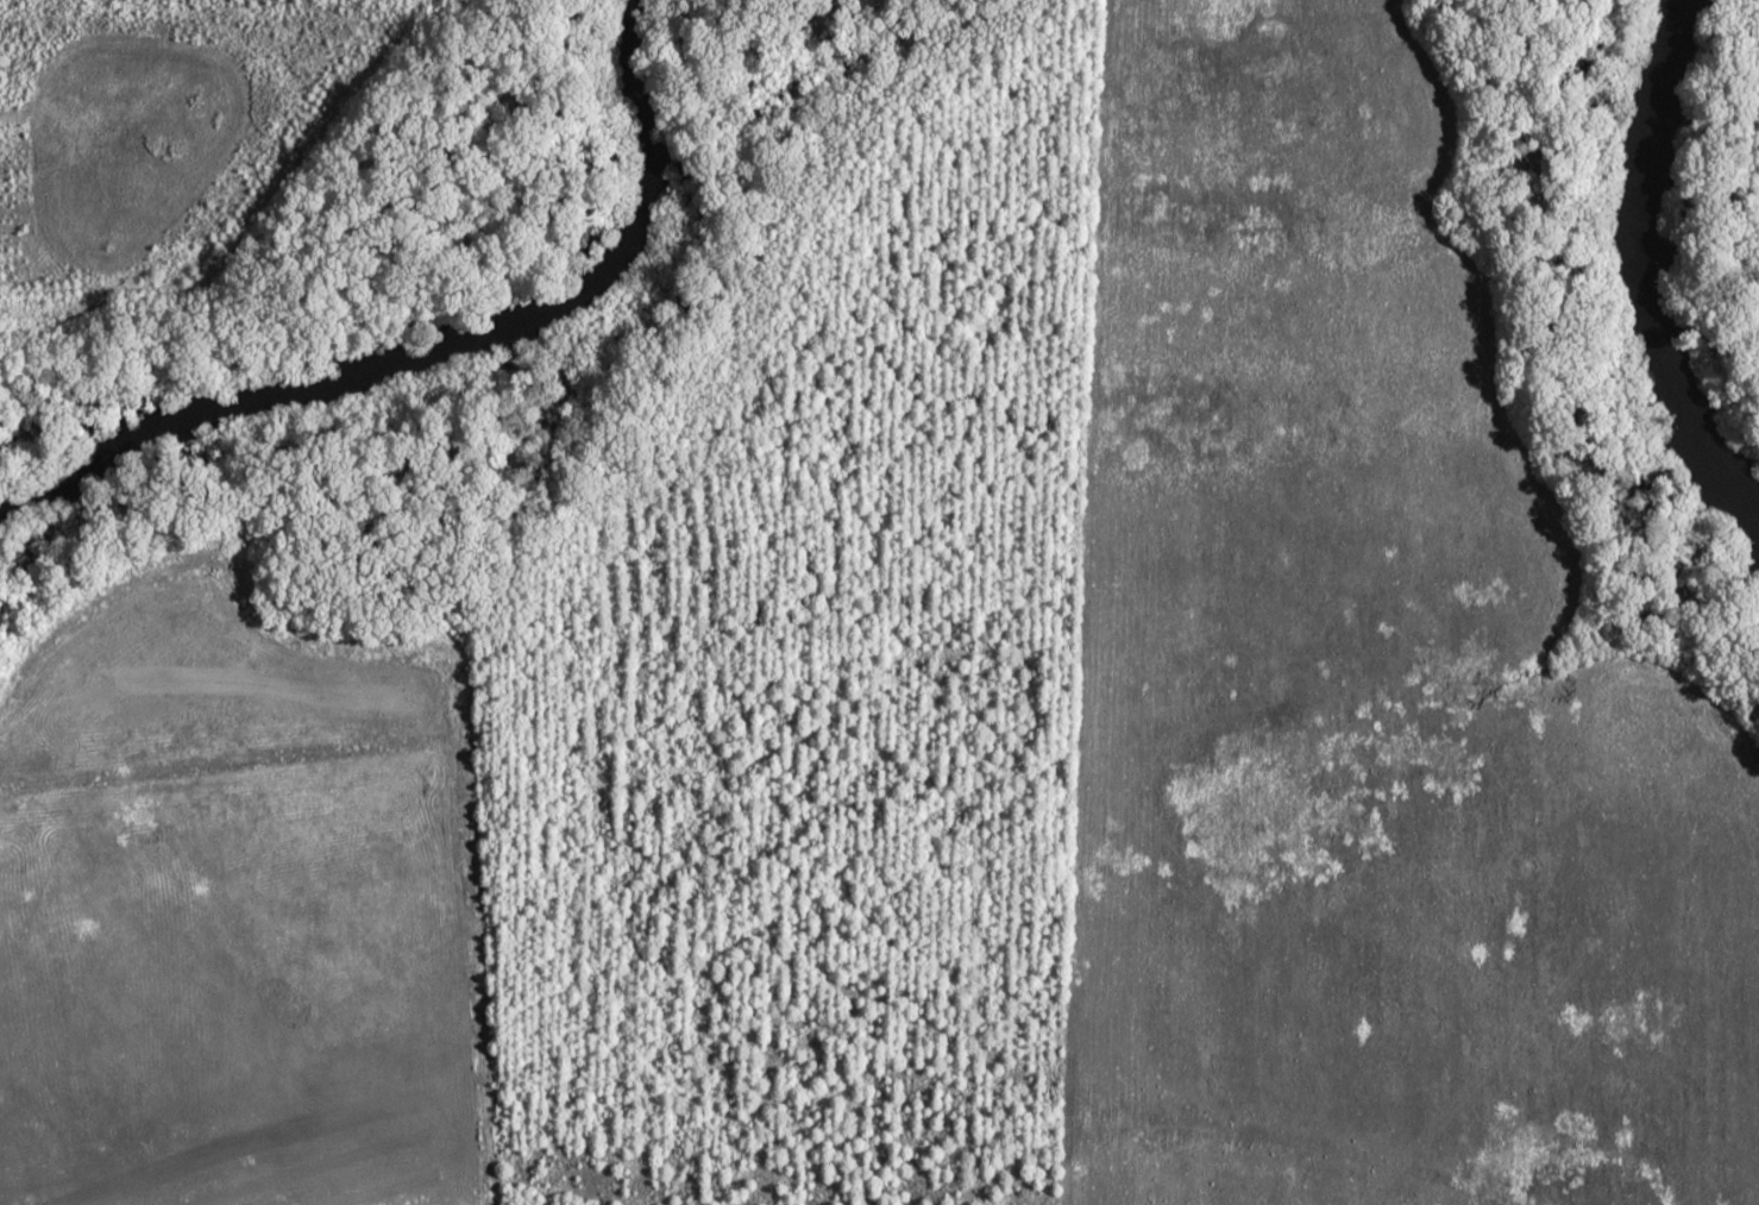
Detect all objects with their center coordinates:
river: (1652, 256)

